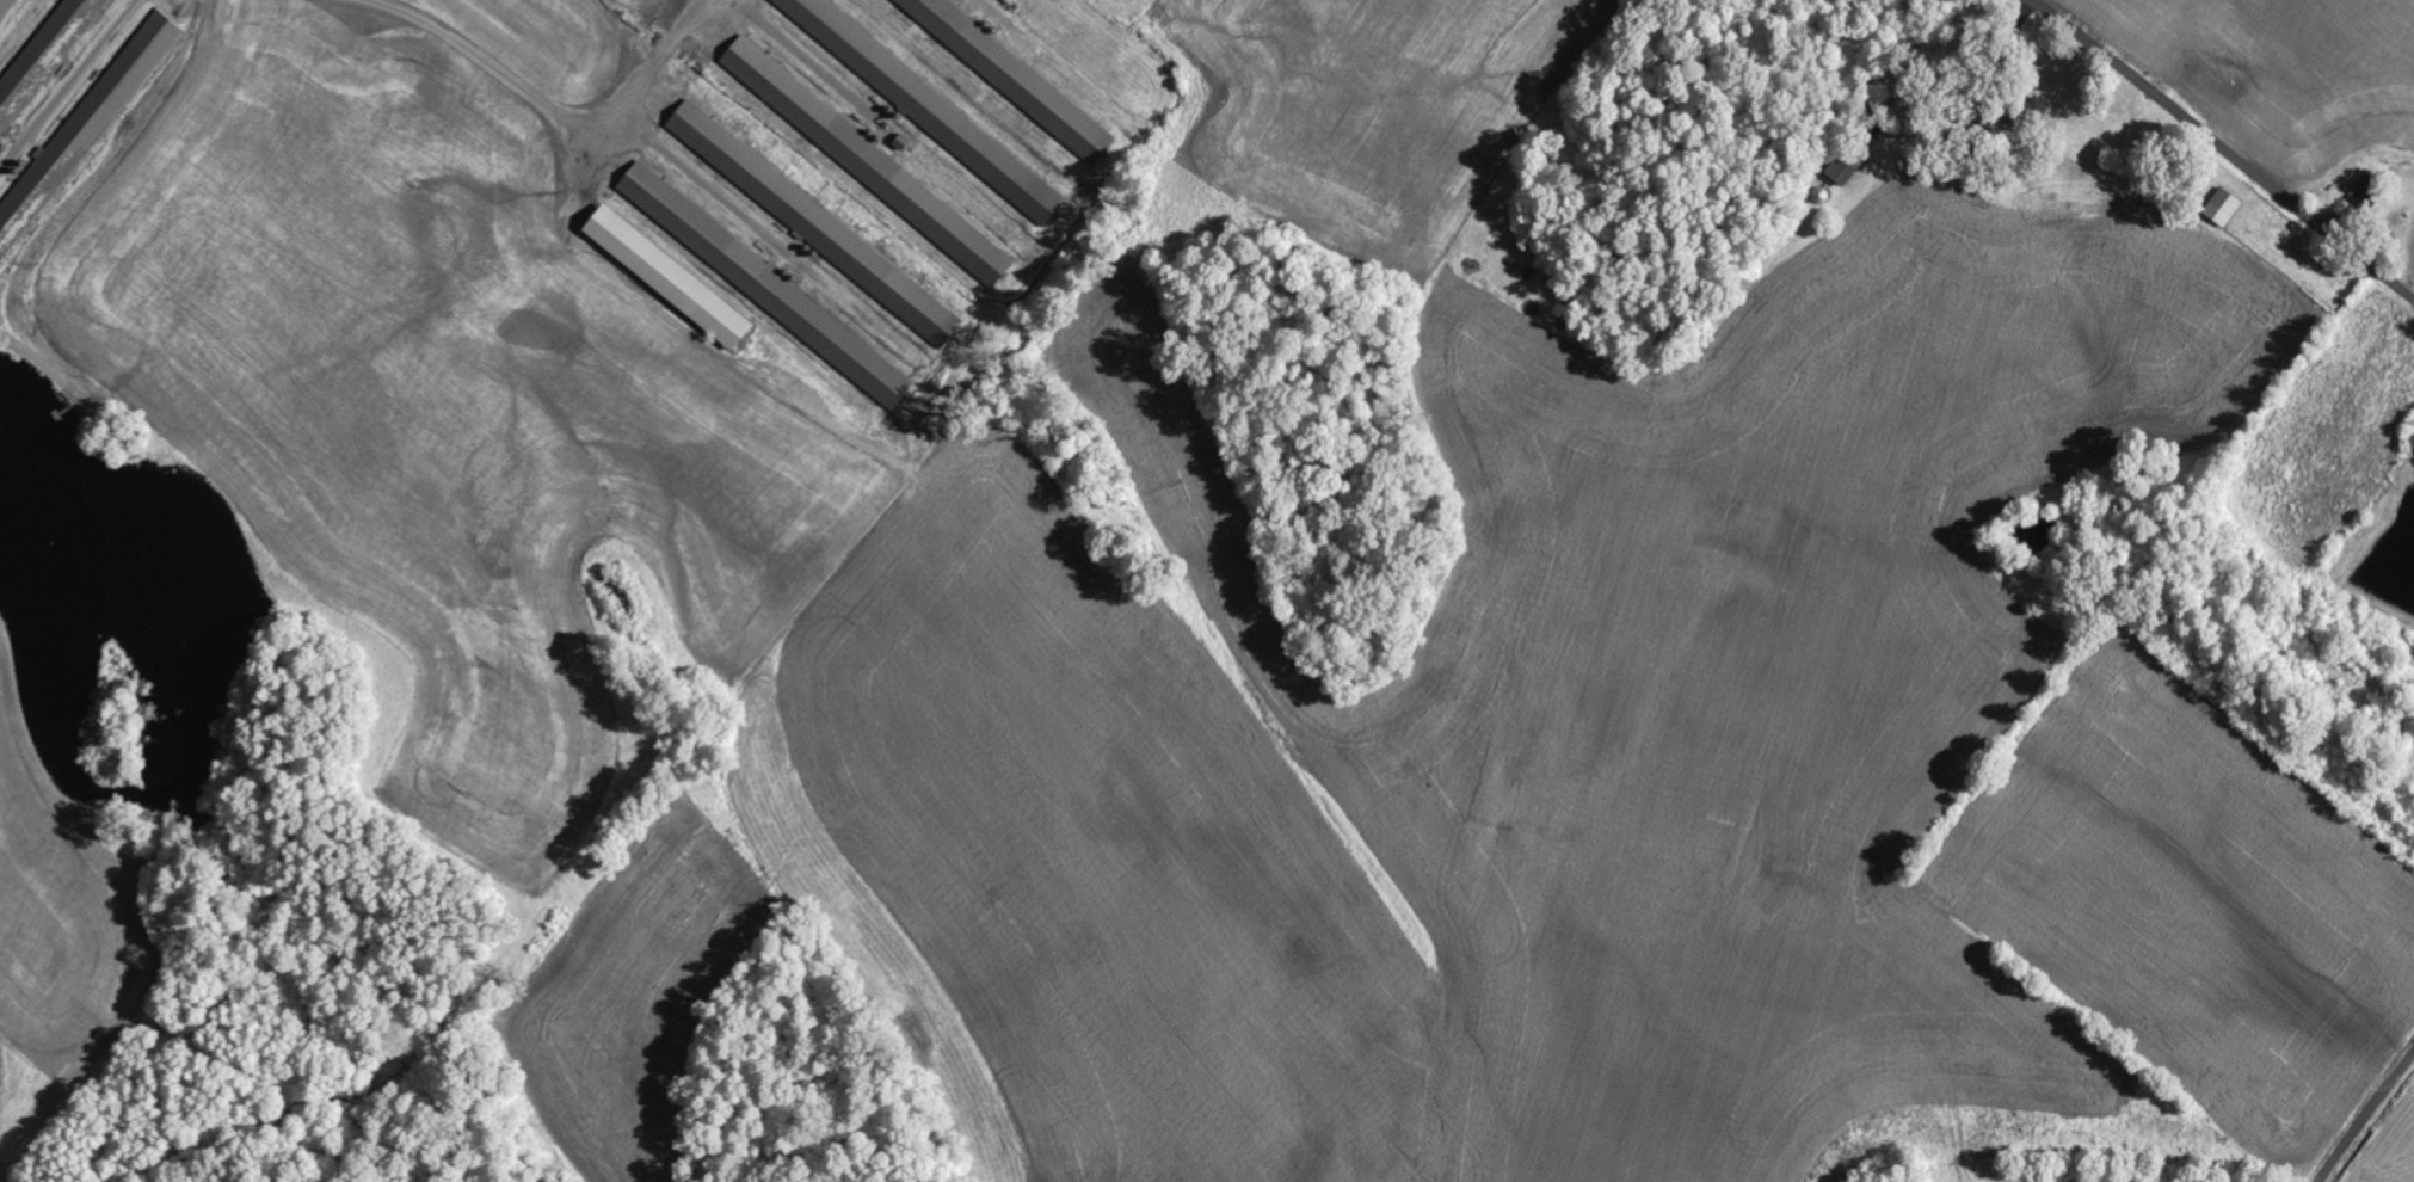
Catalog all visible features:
building: (45, 61)
building: (1018, 75)
building: (931, 106)
building: (80, 136)
road: (2224, 149)
building: (873, 161)
building: (2221, 207)
building: (821, 223)
building: (676, 277)
building: (770, 285)
road: (1608, 1039)
road: (2366, 1116)

